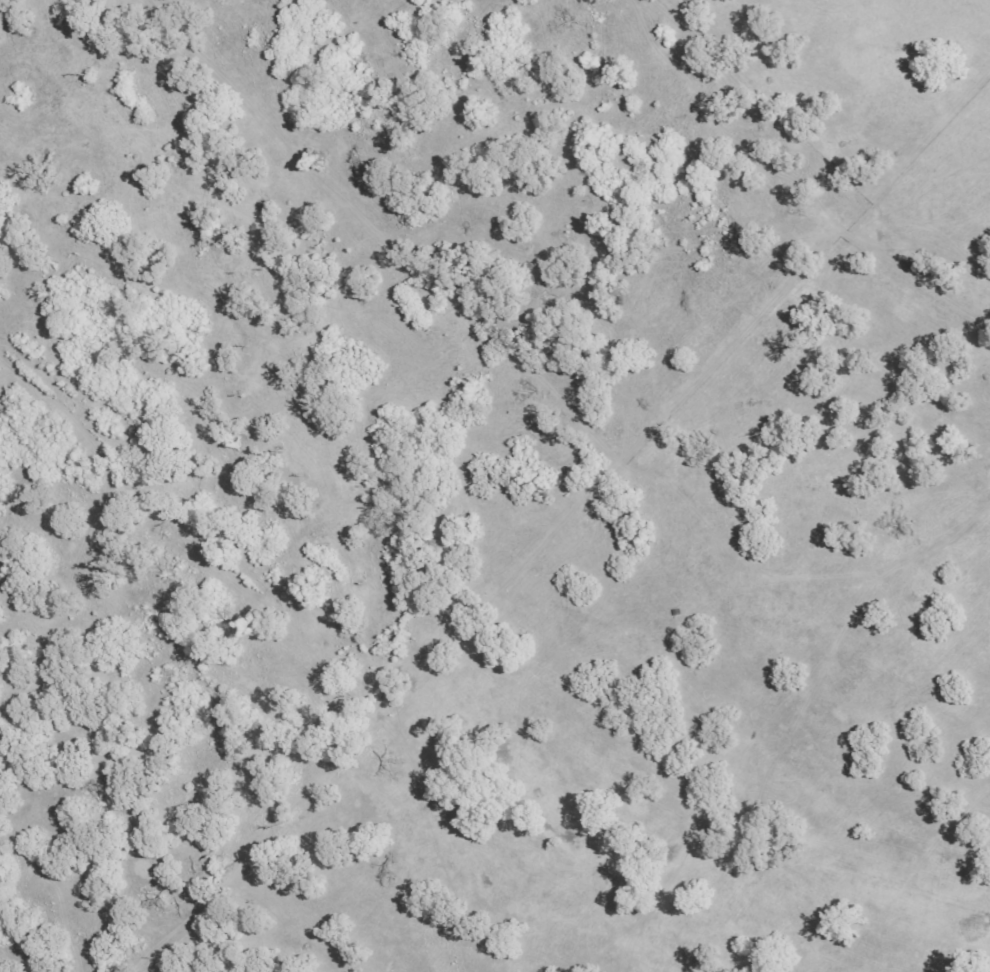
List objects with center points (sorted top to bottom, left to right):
road: (872, 490)

